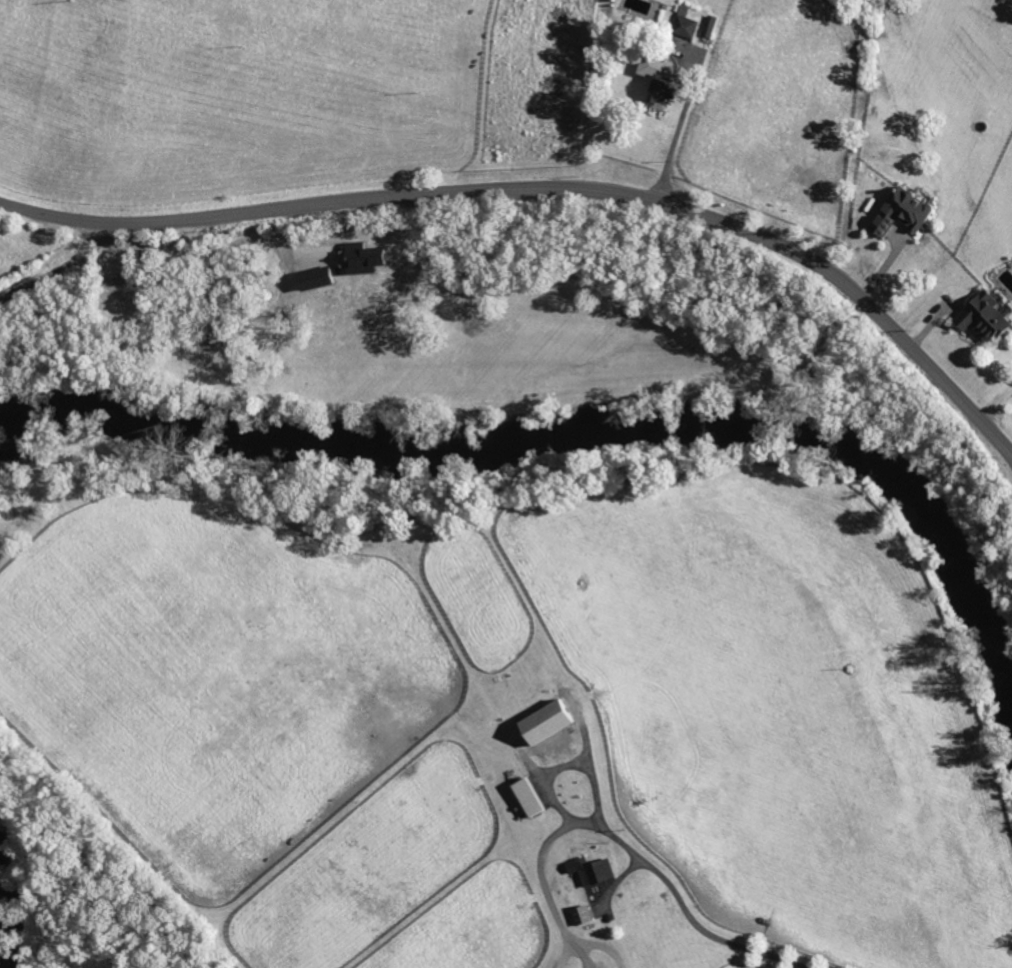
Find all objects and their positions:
building: (684, 26)
building: (656, 78)
road: (676, 133)
road: (549, 188)
building: (901, 211)
building: (360, 257)
building: (328, 258)
road: (57, 271)
building: (312, 278)
building: (981, 317)
river: (565, 434)
building: (544, 726)
road: (569, 766)
building: (527, 797)
road: (636, 853)
building: (591, 870)
building: (581, 915)
road: (601, 944)
road: (564, 953)

